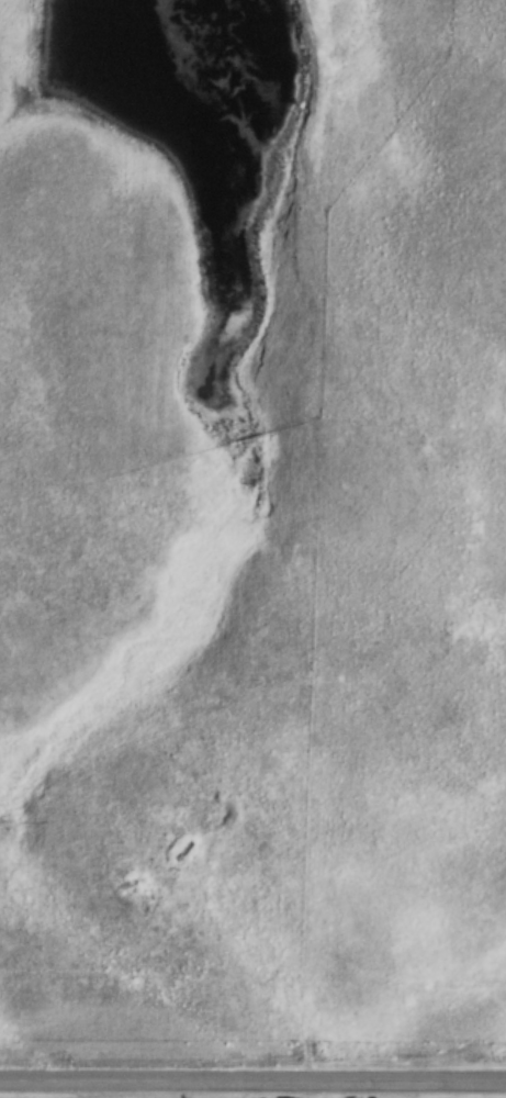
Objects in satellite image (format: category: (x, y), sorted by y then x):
road: (252, 1086)

